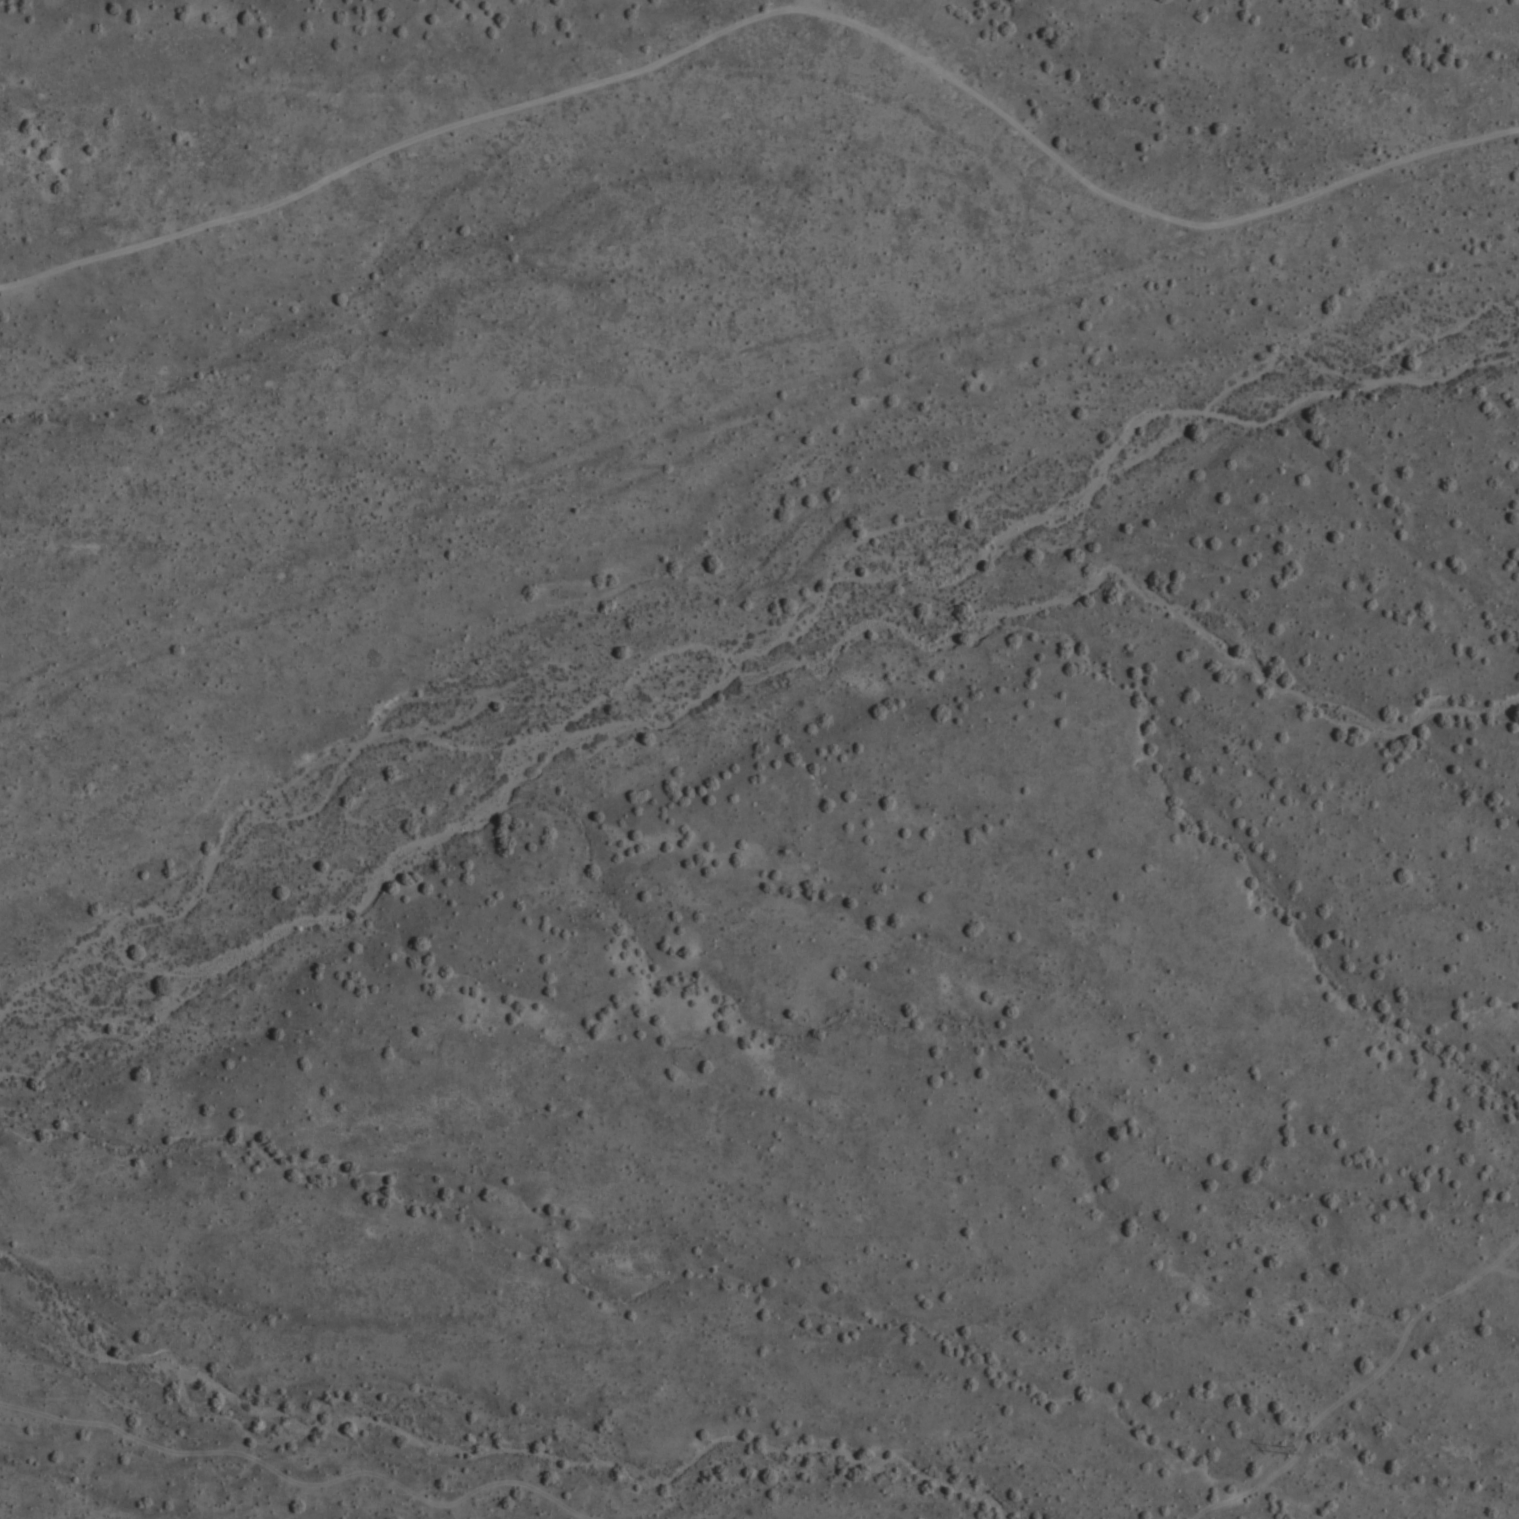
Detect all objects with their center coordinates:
power tower: (1284, 1447)

